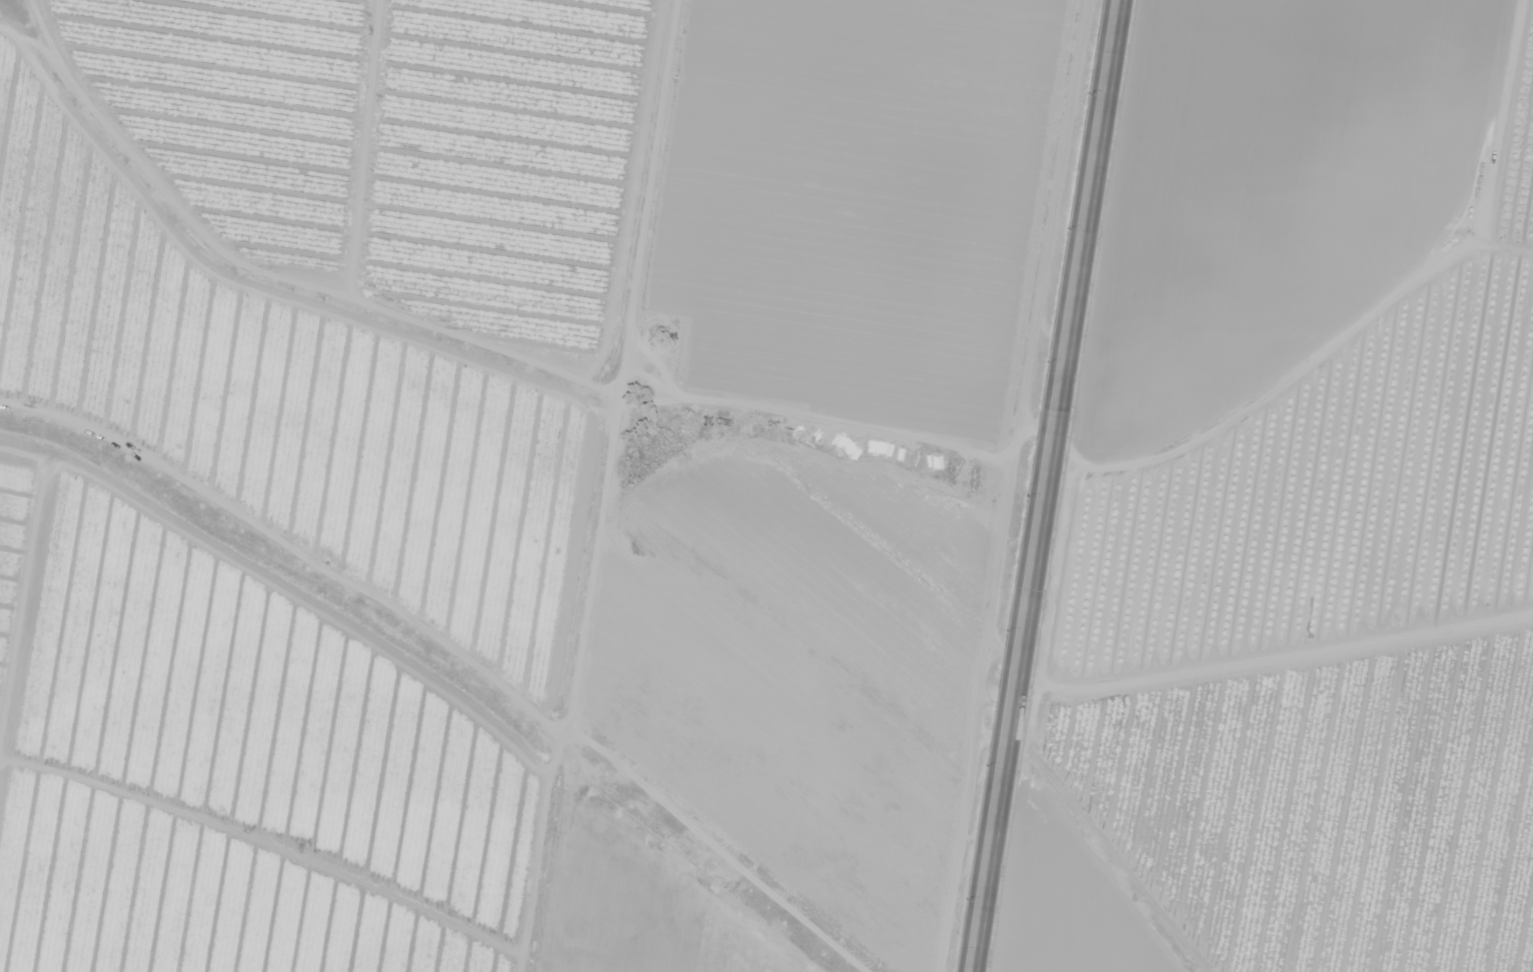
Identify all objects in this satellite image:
road: (1043, 486)

